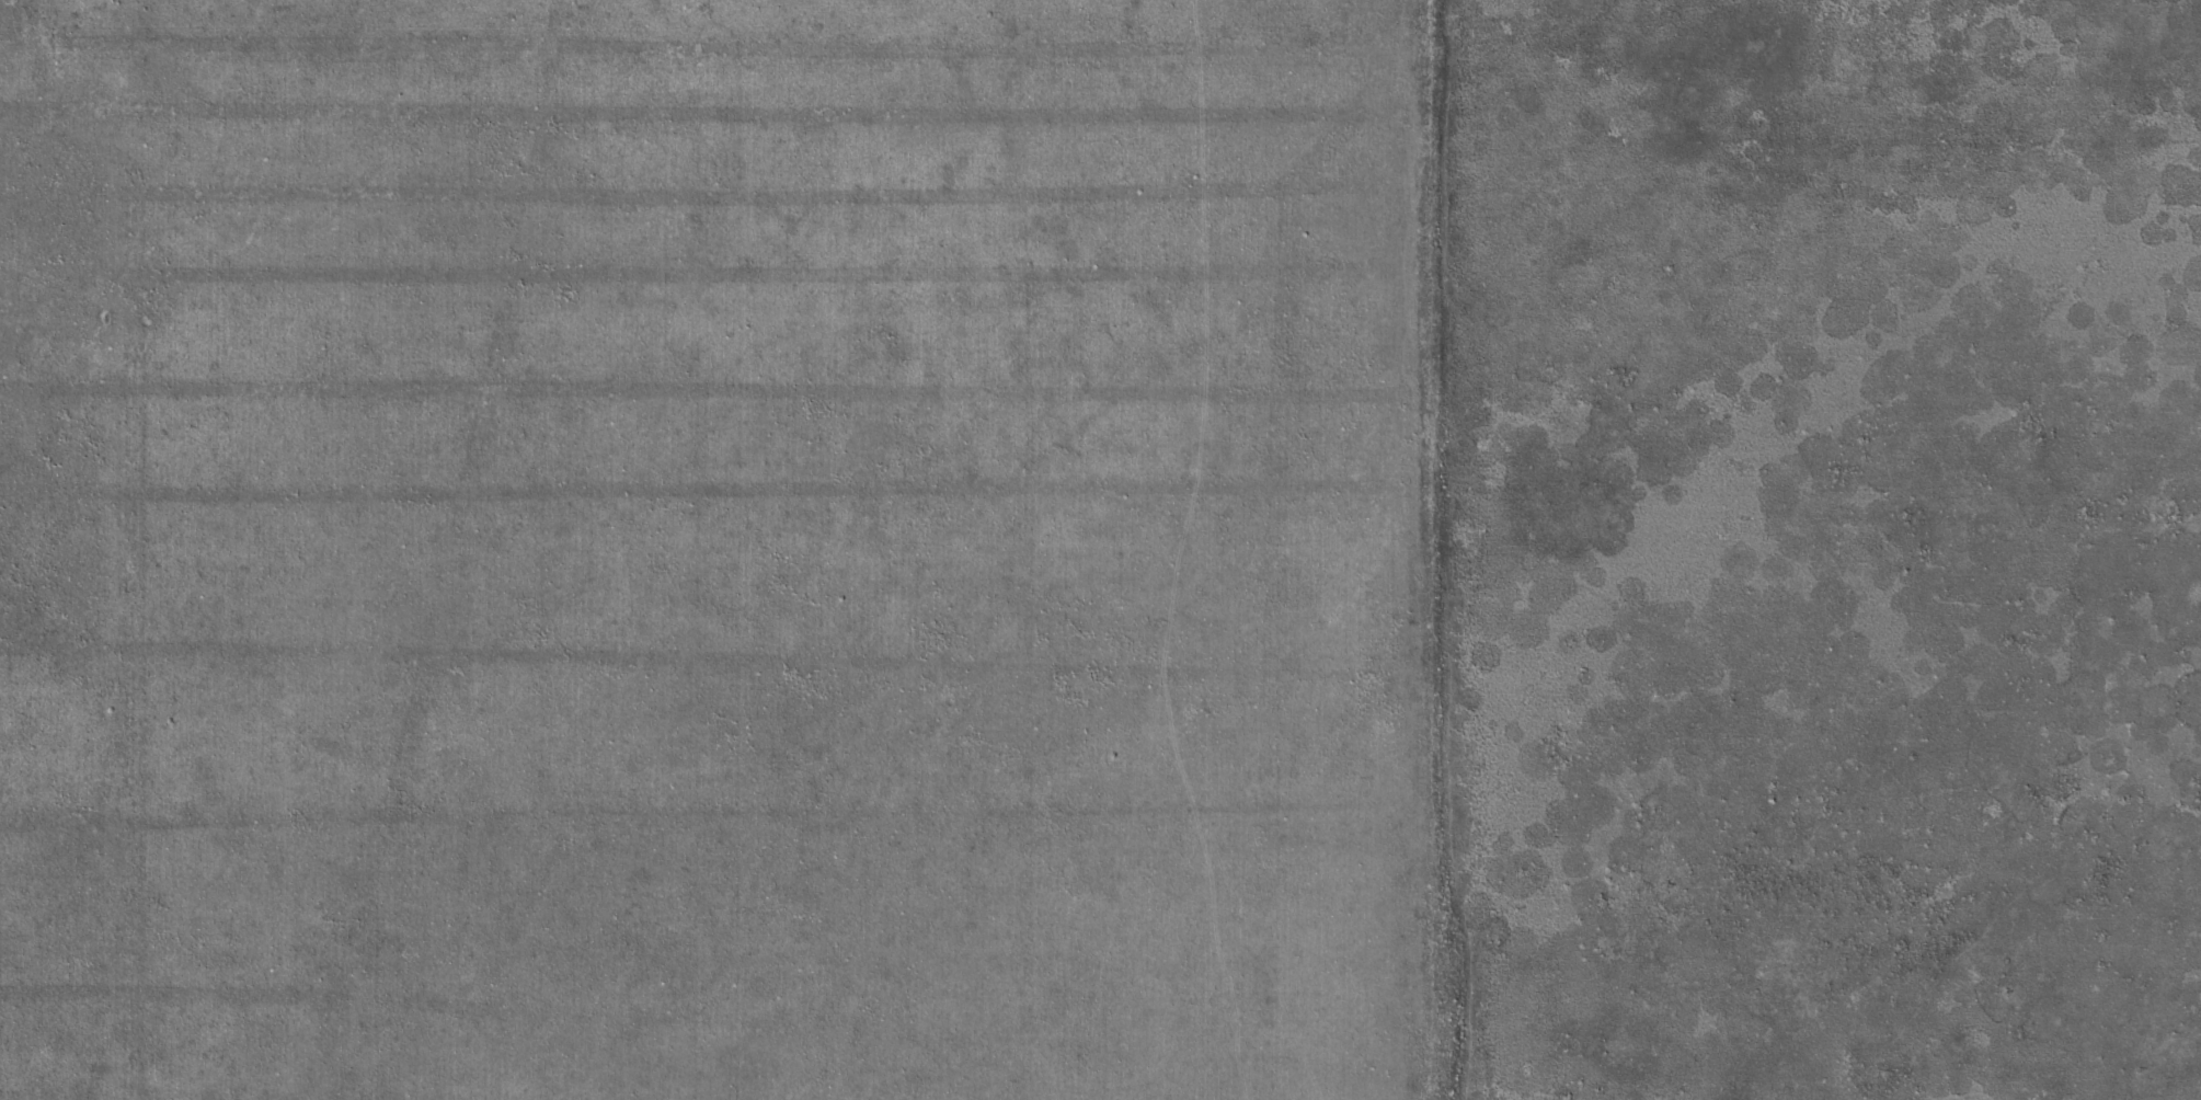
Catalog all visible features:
road: (695, 117)
road: (2073, 461)
road: (127, 600)

